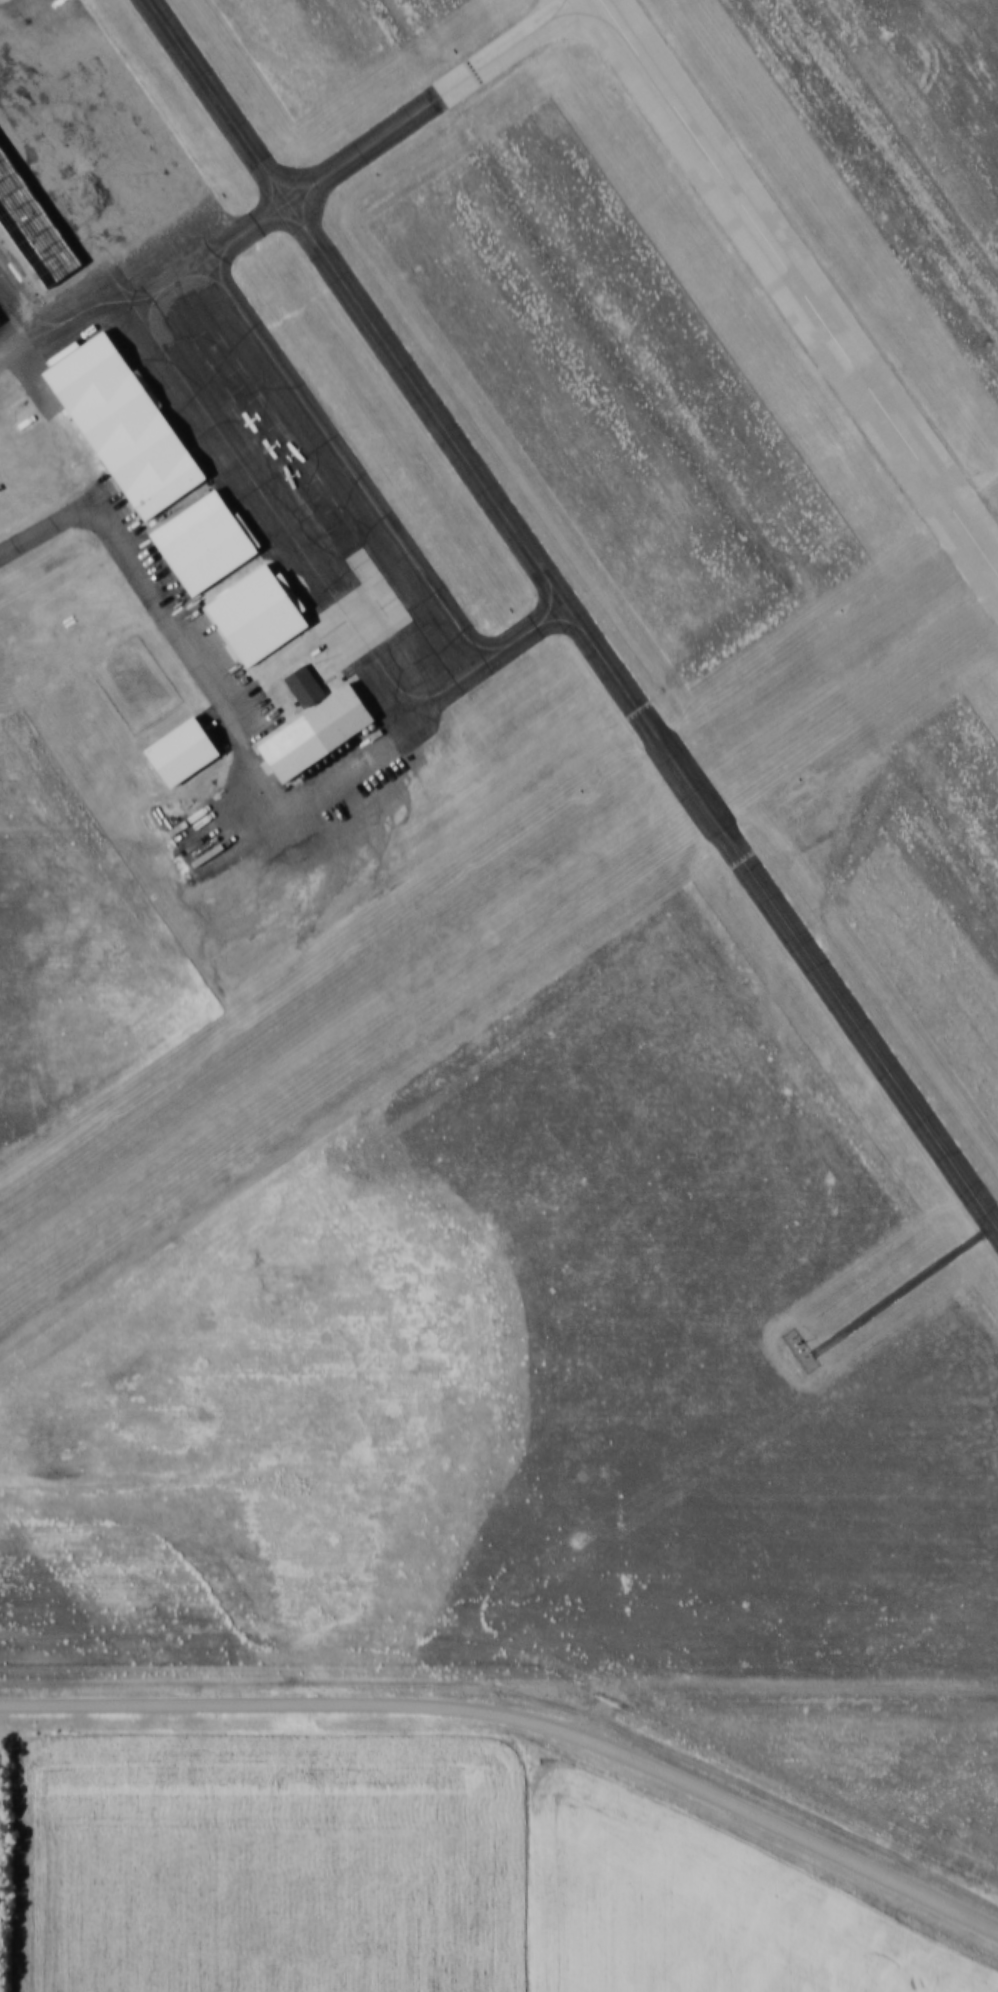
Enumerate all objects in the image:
airport taxiway: (413, 117)
building: (30, 239)
airport runway: (799, 287)
building: (0, 326)
airport apron: (224, 369)
building: (119, 399)
road: (86, 509)
building: (204, 542)
airport taxiway: (571, 614)
airport taxiway: (544, 622)
building: (304, 686)
building: (339, 719)
building: (185, 751)
airport runway: (499, 922)
building: (799, 1350)
road: (784, 1689)
road: (521, 1716)

